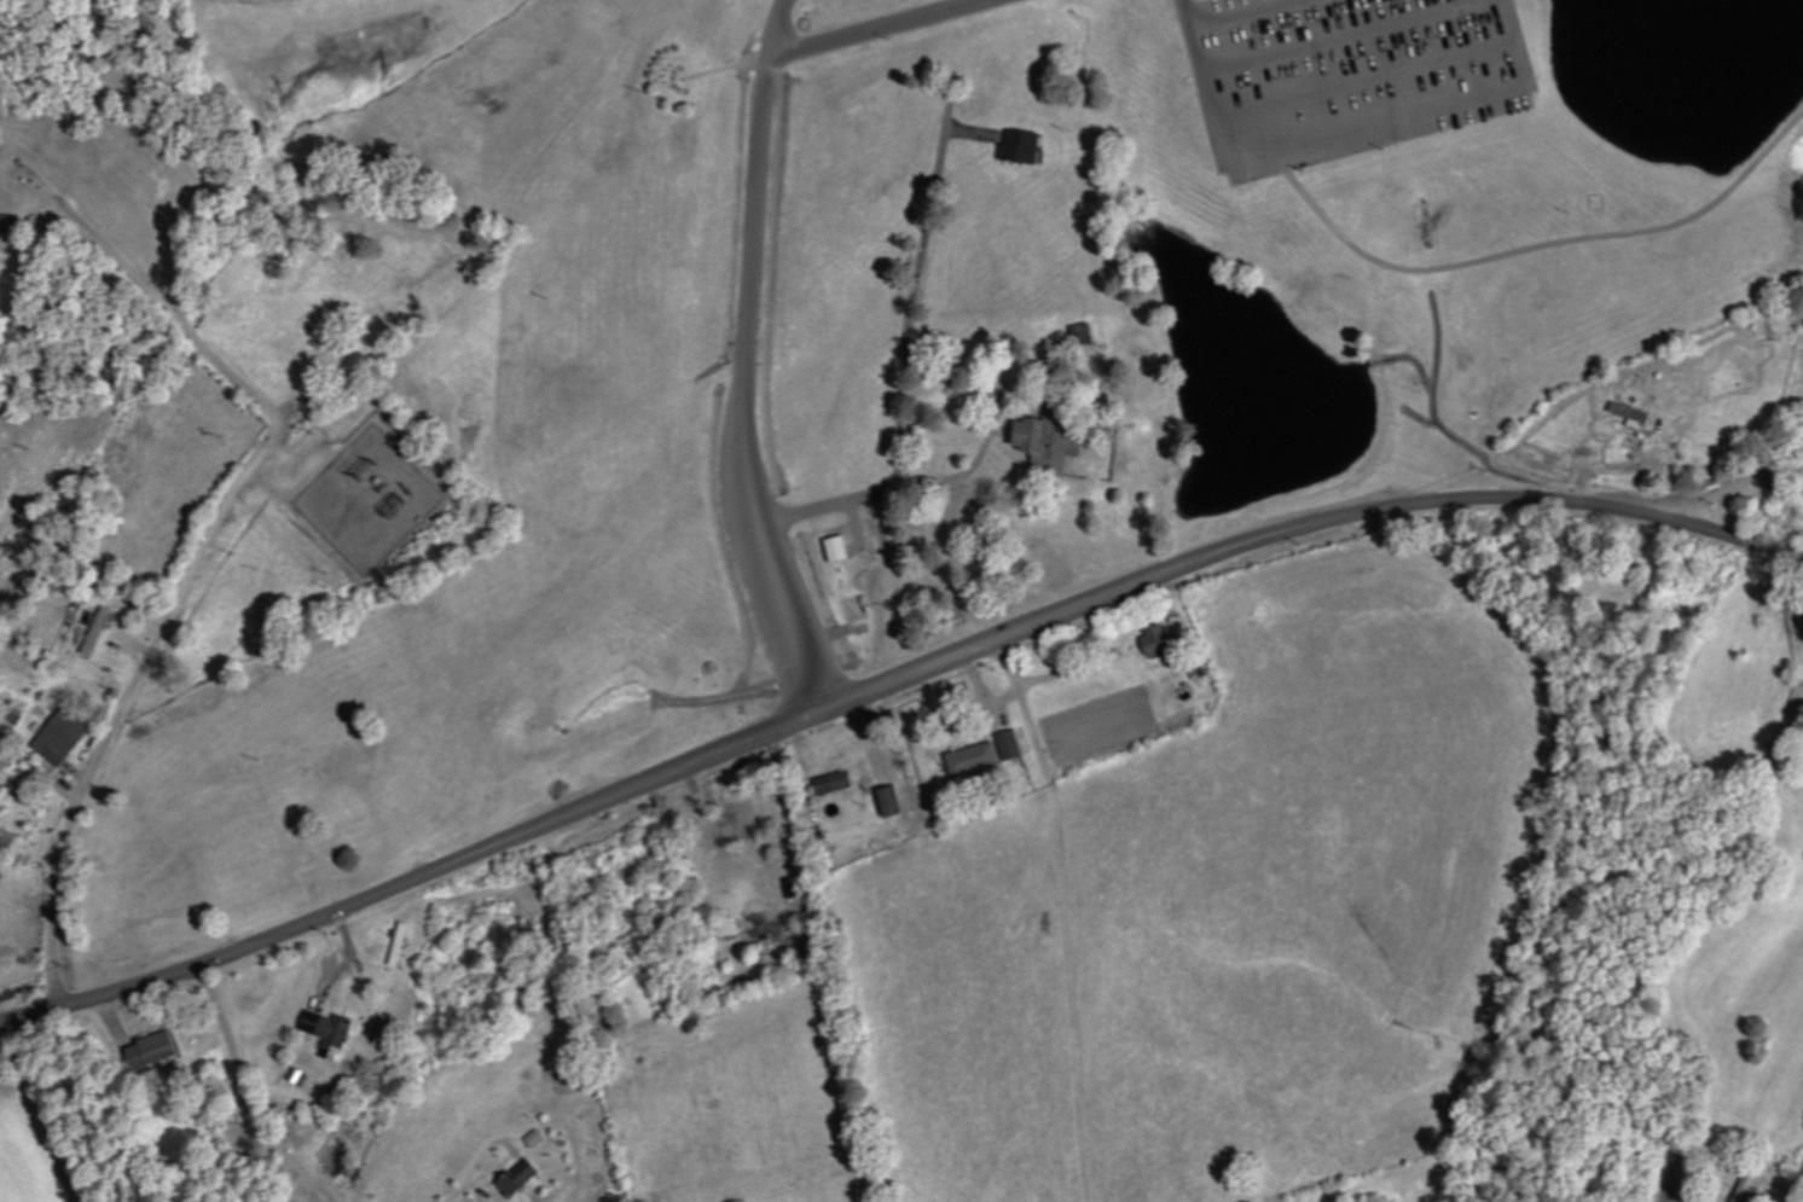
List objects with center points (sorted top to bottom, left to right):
road: (874, 27)
parking lot: (1347, 75)
building: (1027, 147)
building: (0, 208)
building: (12, 222)
building: (1090, 332)
road: (747, 358)
building: (1061, 439)
power substation: (371, 499)
building: (843, 550)
building: (97, 628)
building: (104, 631)
building: (1165, 640)
road: (888, 681)
road: (128, 702)
building: (68, 737)
building: (1015, 747)
building: (979, 761)
building: (839, 783)
building: (897, 802)
building: (10, 840)
road: (1065, 914)
building: (405, 945)
building: (335, 1033)
building: (161, 1052)
building: (524, 1179)
road: (1796, 1188)
building: (1750, 1189)

